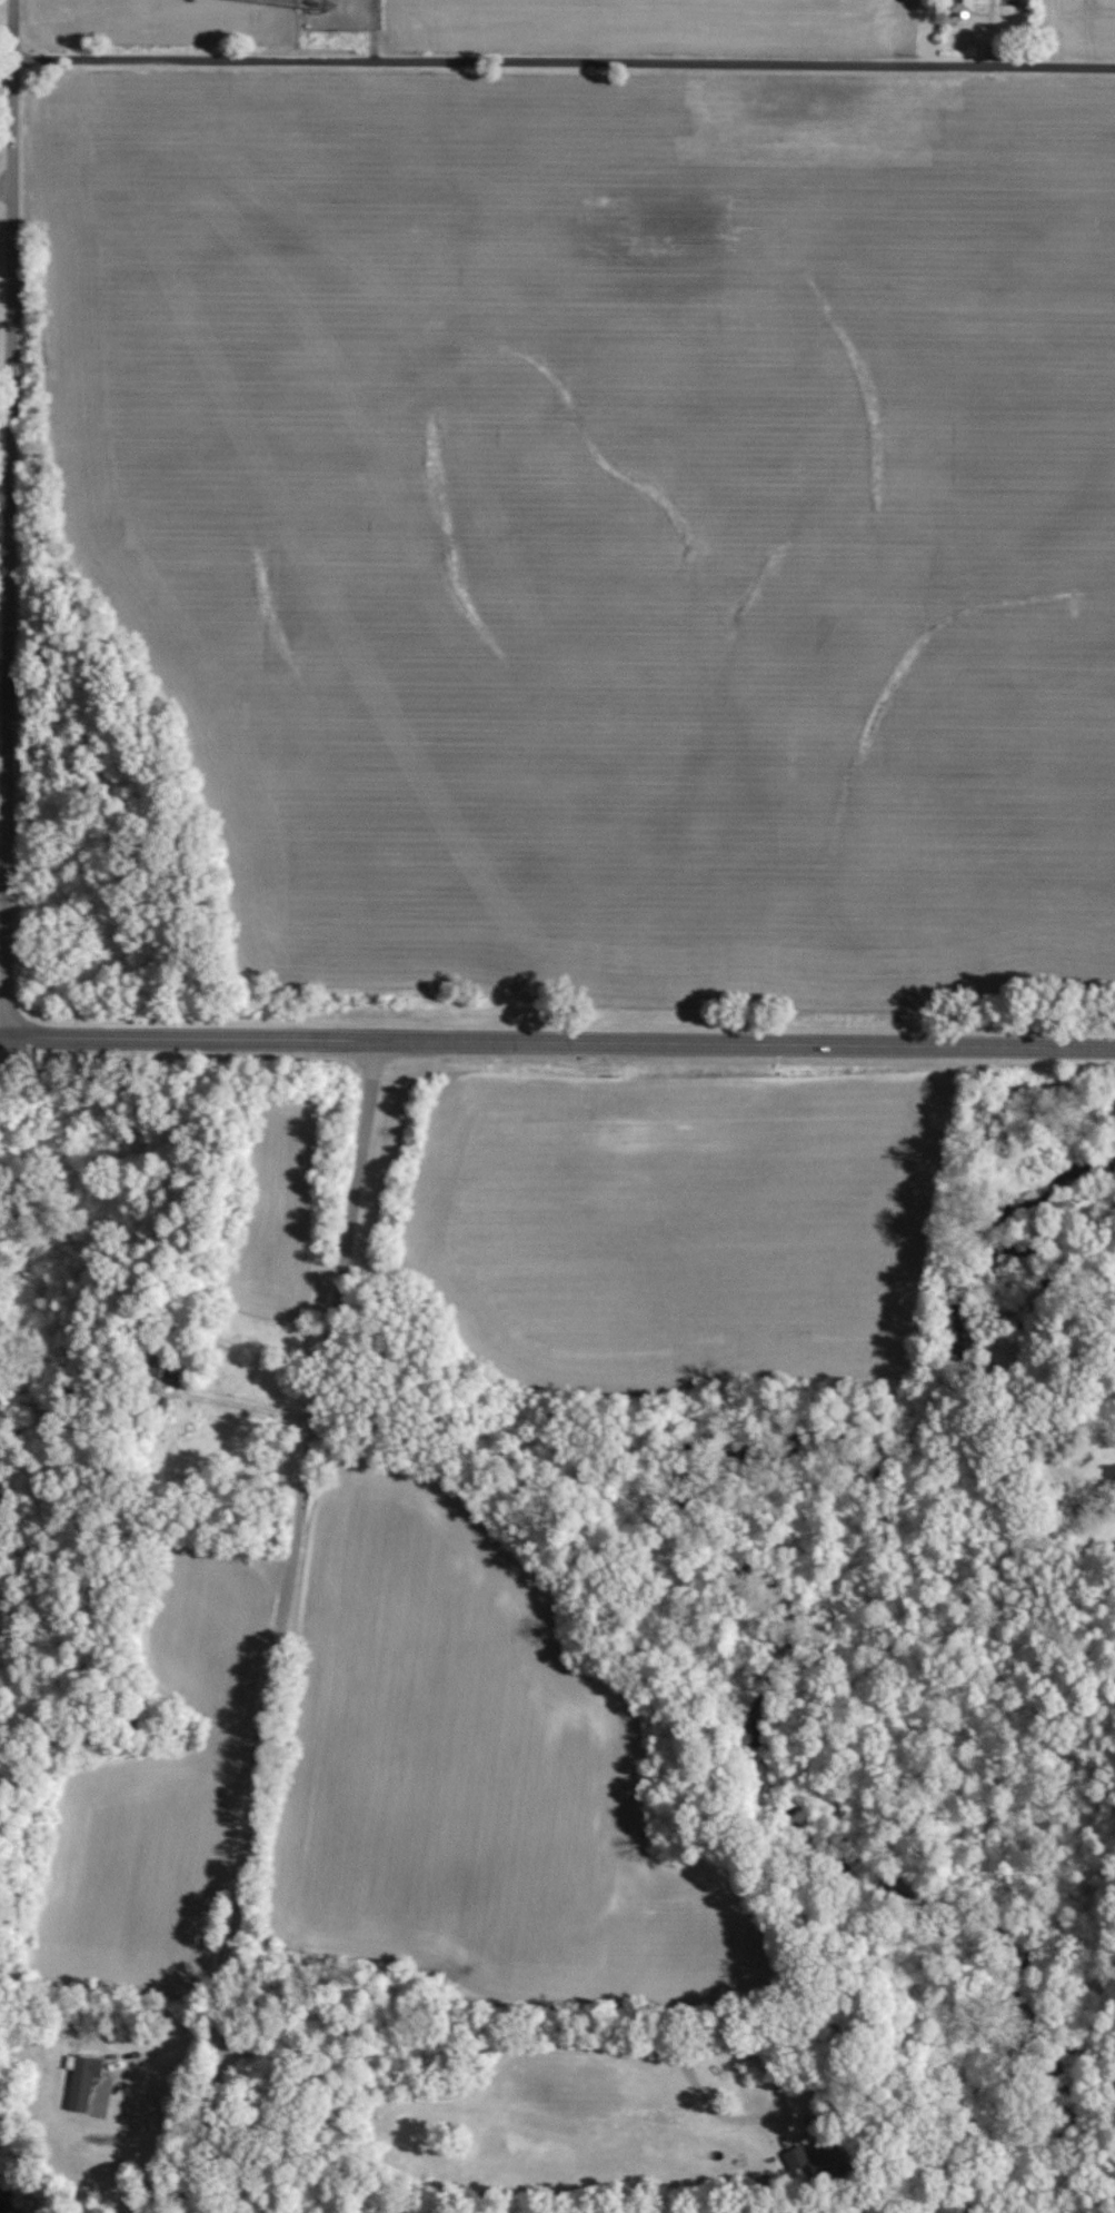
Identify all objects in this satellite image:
road: (7, 2)
building: (960, 4)
road: (564, 62)
road: (10, 519)
road: (557, 1043)
road: (296, 1545)
road: (516, 2052)
building: (82, 2082)
road: (207, 2131)
building: (815, 2164)

